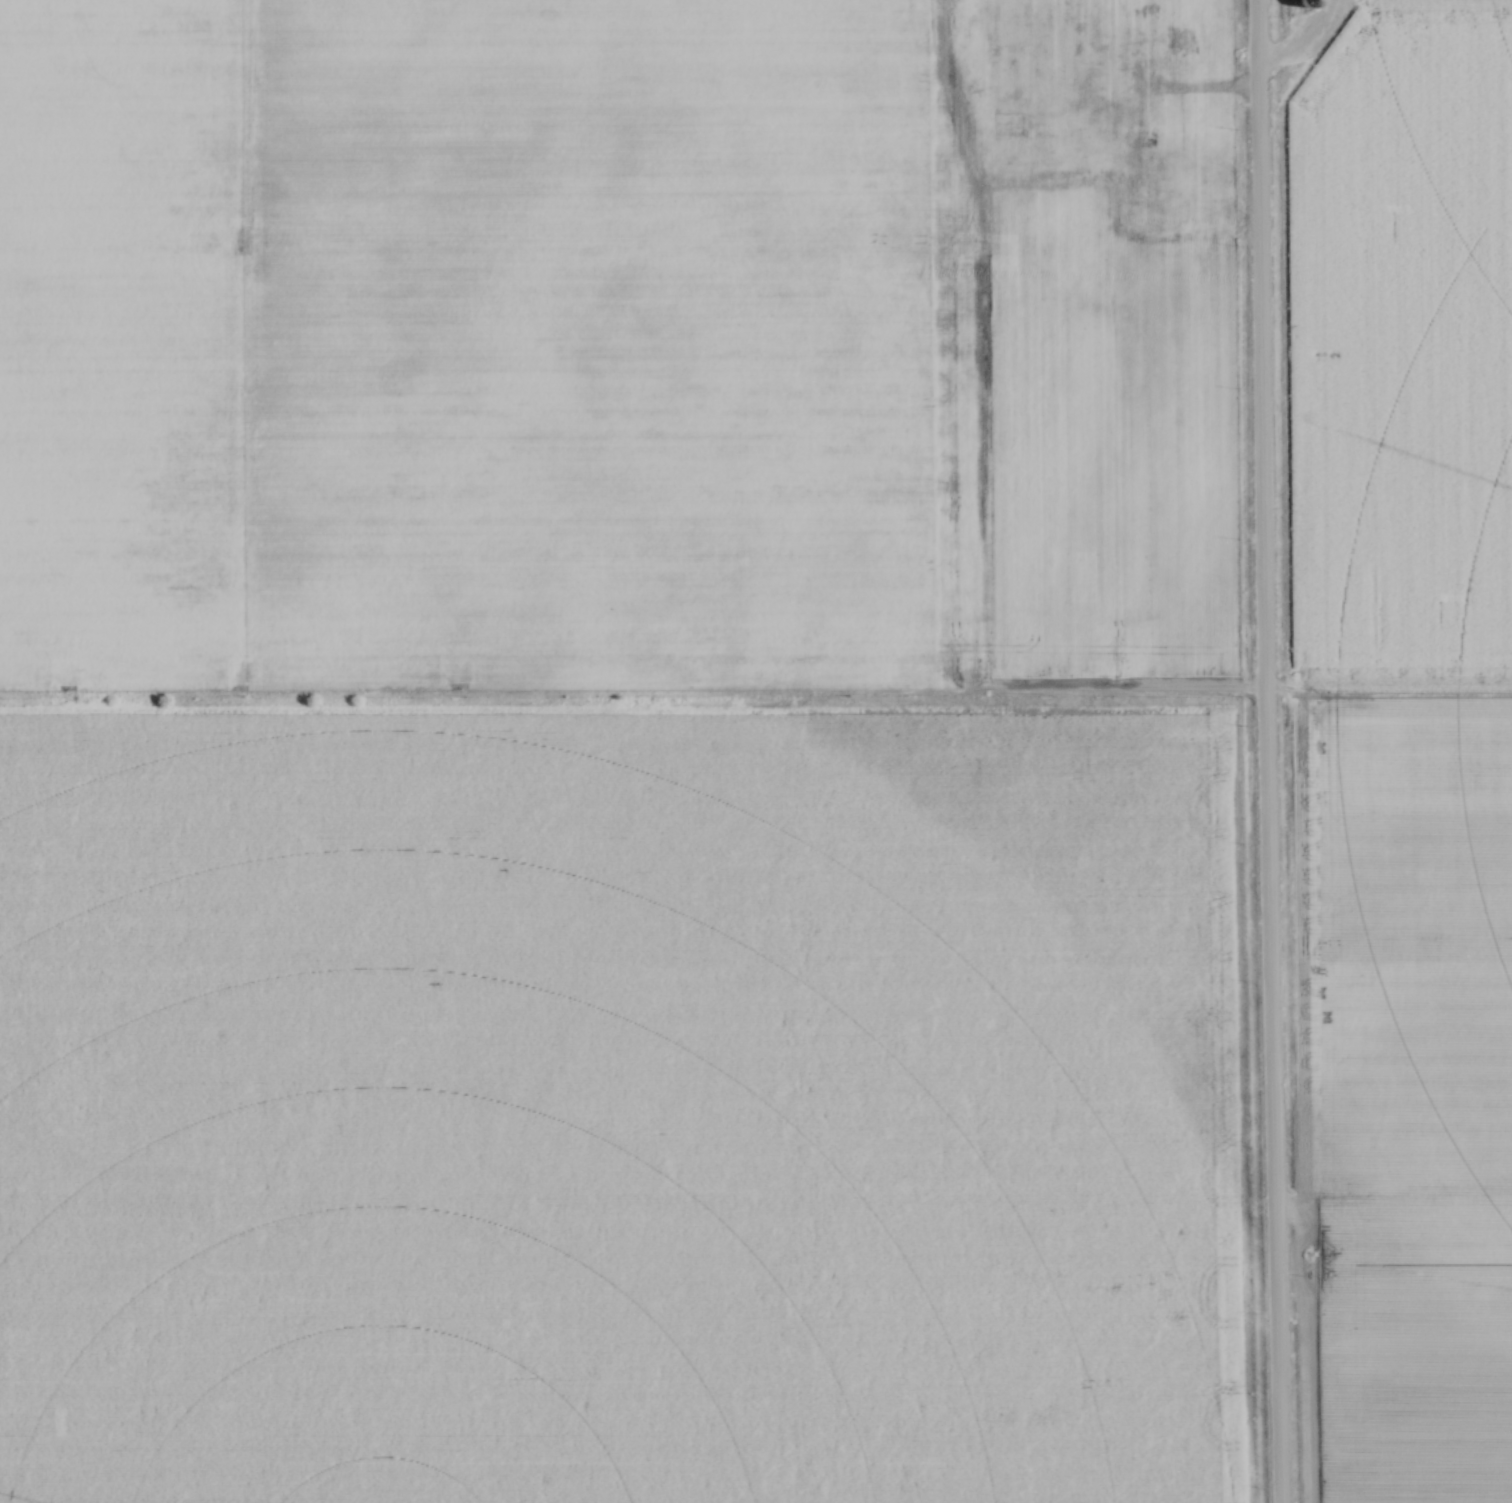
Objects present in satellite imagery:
building: (1004, 23)
building: (1143, 25)
road: (1298, 39)
building: (1172, 45)
road: (1181, 94)
building: (1134, 188)
road: (1265, 751)

